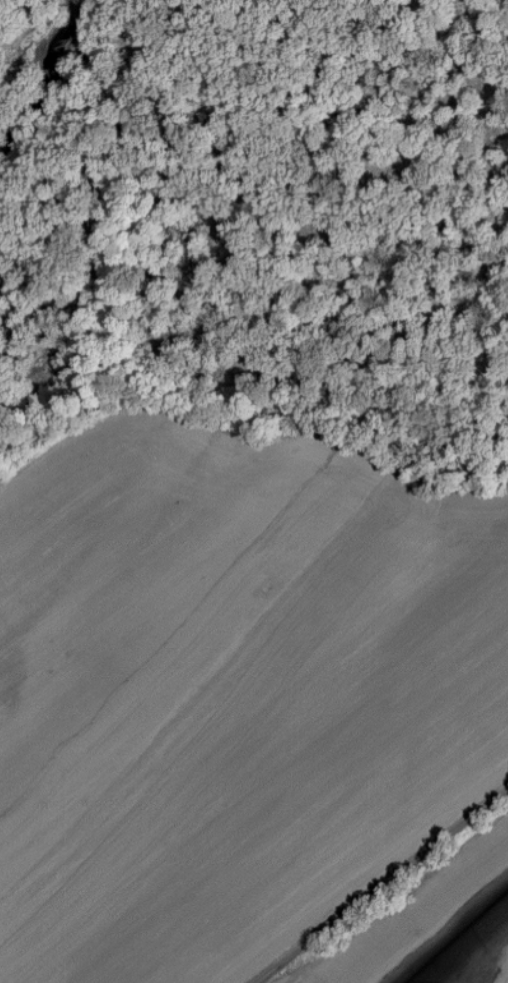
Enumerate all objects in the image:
road: (453, 823)
road: (327, 925)

